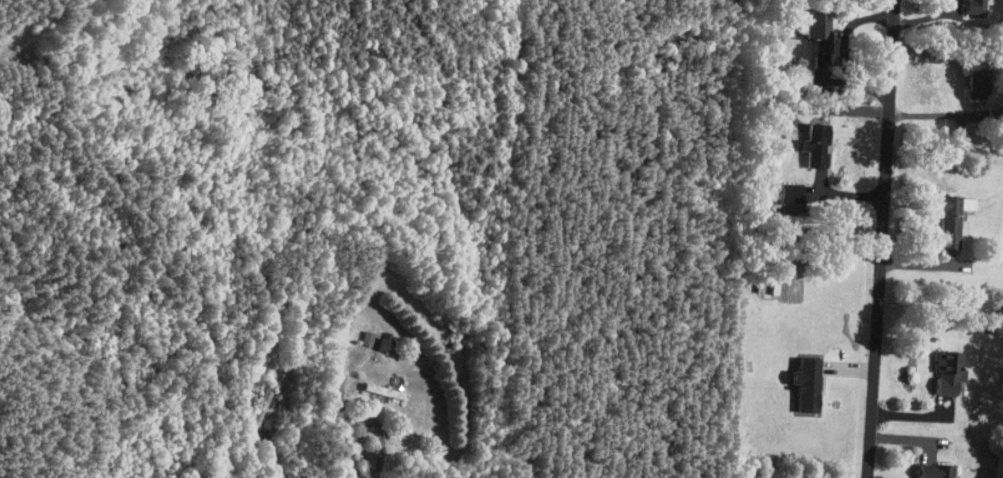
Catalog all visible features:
building: (961, 3)
building: (799, 17)
building: (803, 139)
building: (777, 190)
building: (938, 214)
road: (881, 238)
building: (755, 280)
building: (355, 331)
building: (374, 335)
building: (936, 367)
building: (794, 378)
building: (371, 384)
road: (380, 445)
building: (921, 467)
road: (374, 475)

